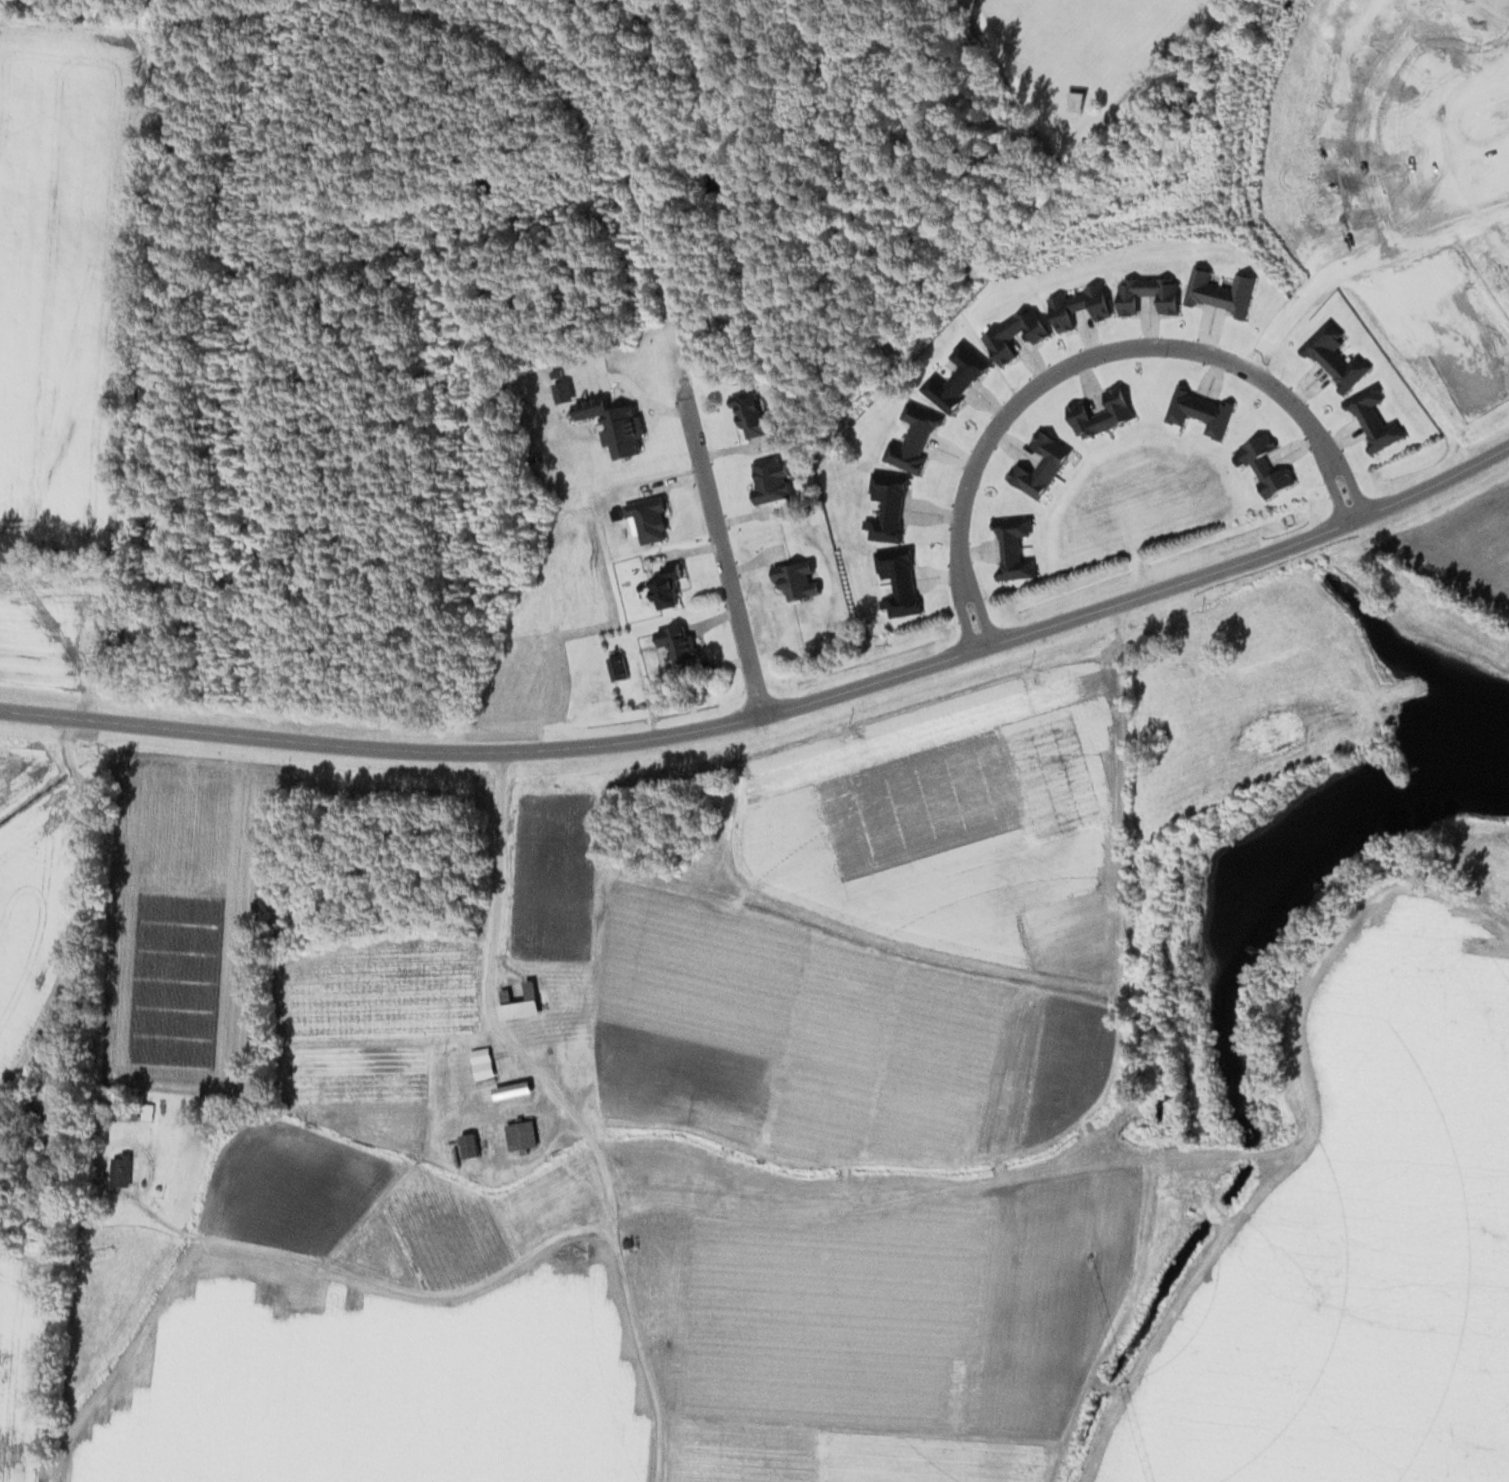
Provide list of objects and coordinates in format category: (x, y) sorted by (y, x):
building: (1075, 97)
building: (1219, 289)
building: (1145, 294)
building: (1079, 306)
road: (1276, 324)
building: (1013, 334)
road: (1088, 352)
building: (1334, 356)
building: (1197, 410)
building: (1100, 412)
building: (751, 414)
building: (1372, 417)
building: (601, 419)
building: (911, 438)
building: (1039, 464)
building: (1266, 465)
building: (769, 479)
building: (647, 518)
road: (709, 531)
building: (1012, 548)
building: (664, 584)
building: (676, 642)
building: (615, 666)
road: (776, 710)
building: (518, 1001)
road: (484, 1009)
building: (572, 1057)
building: (47, 1070)
building: (510, 1089)
building: (128, 1109)
building: (519, 1135)
building: (467, 1145)
building: (118, 1169)
building: (632, 1186)
building: (541, 1214)
road: (489, 1274)
building: (651, 1281)
building: (656, 1343)

